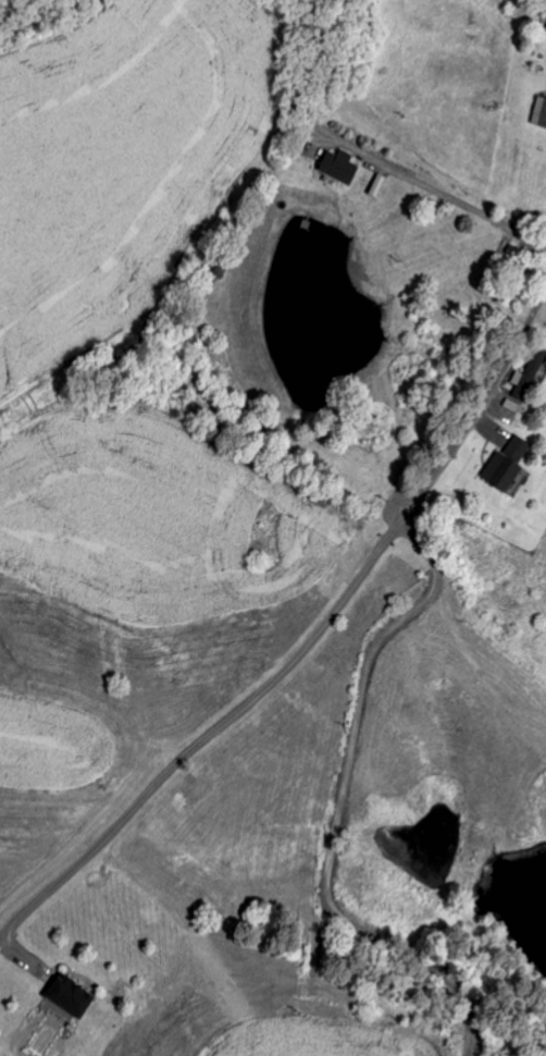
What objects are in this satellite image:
building: (541, 113)
building: (343, 168)
building: (530, 379)
road: (483, 396)
building: (510, 468)
building: (71, 999)

